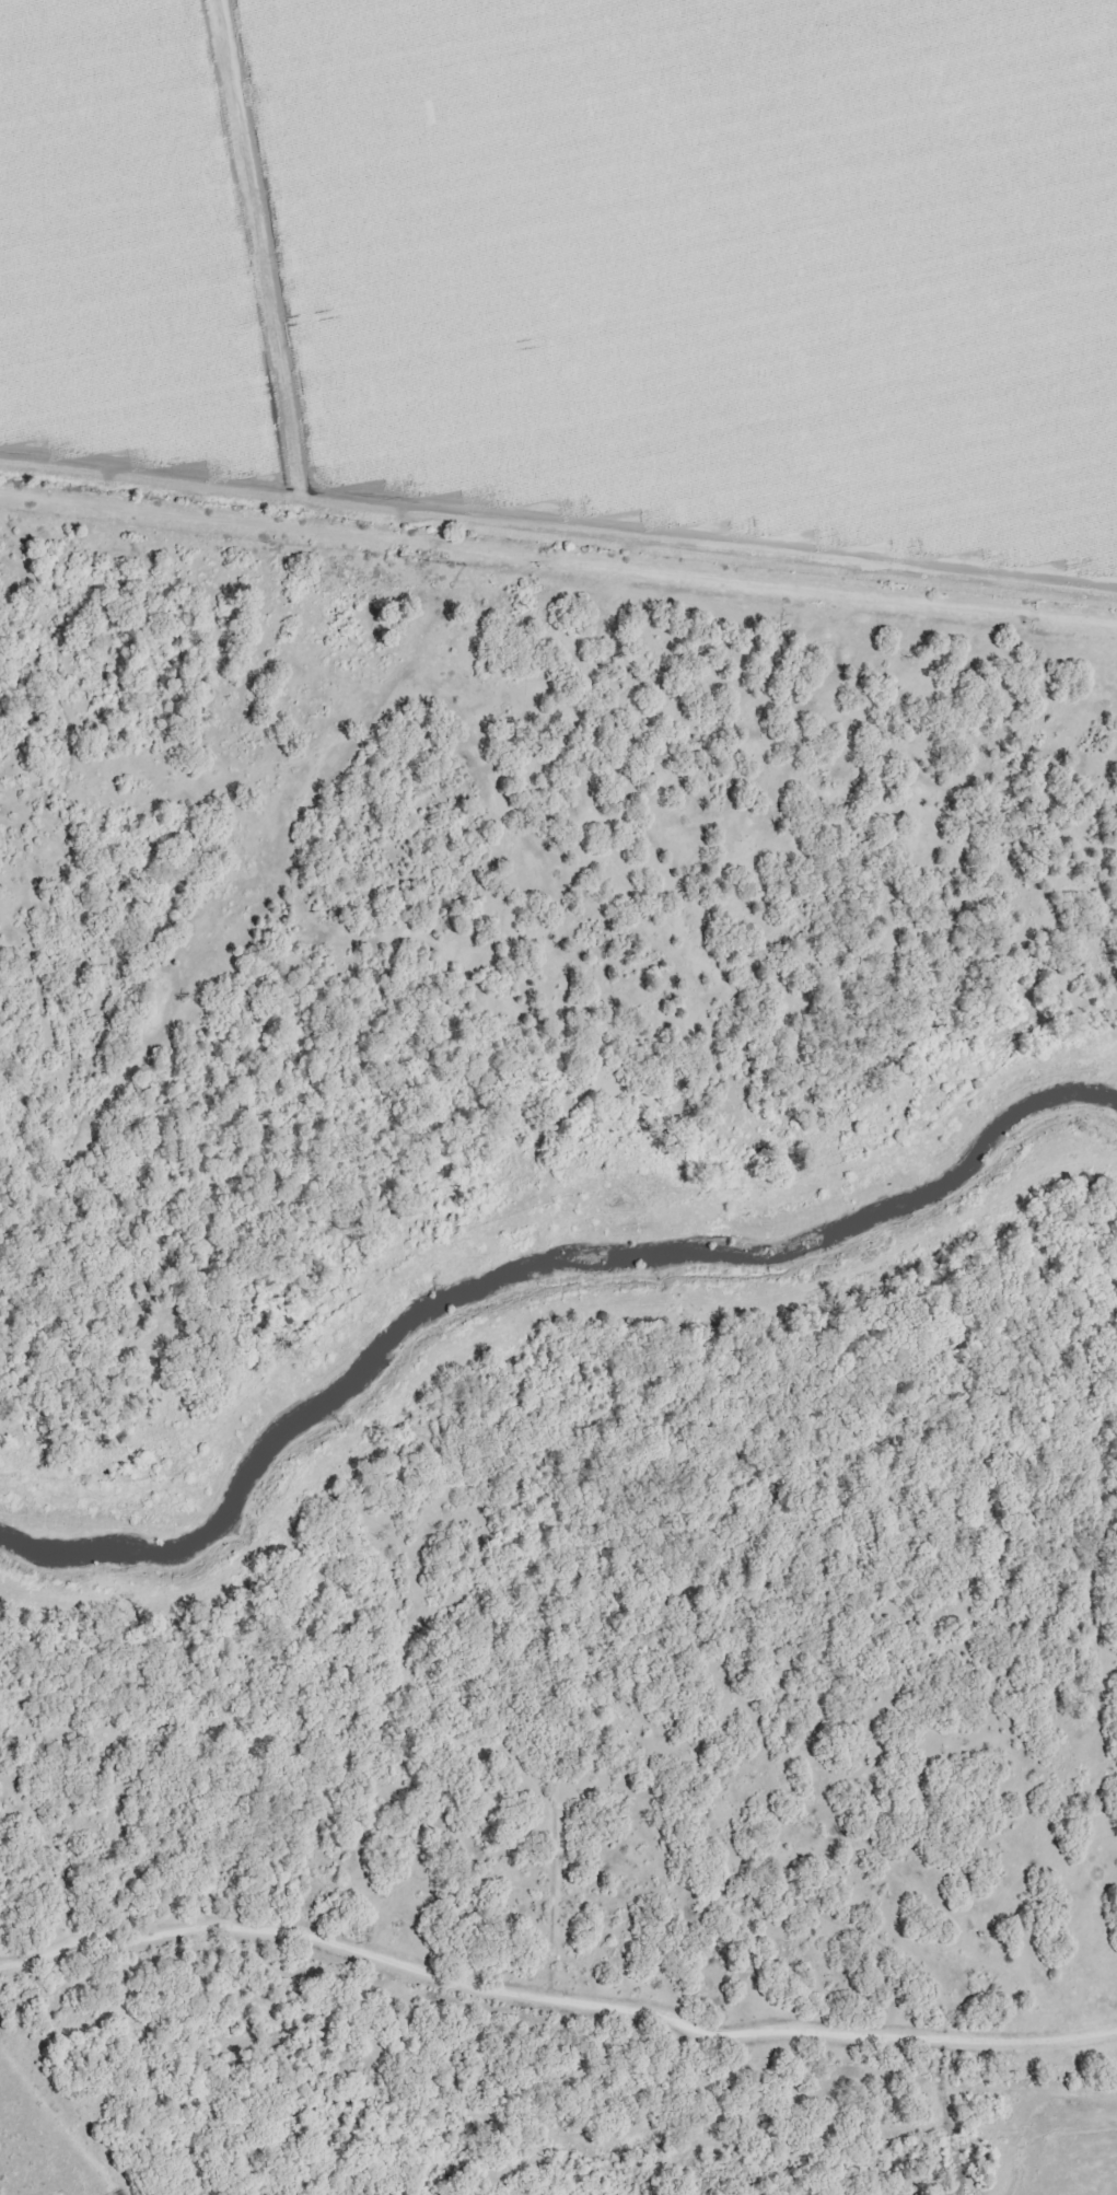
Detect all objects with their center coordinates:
road: (558, 556)
river: (525, 1271)
road: (30, 1952)
road: (586, 1994)

